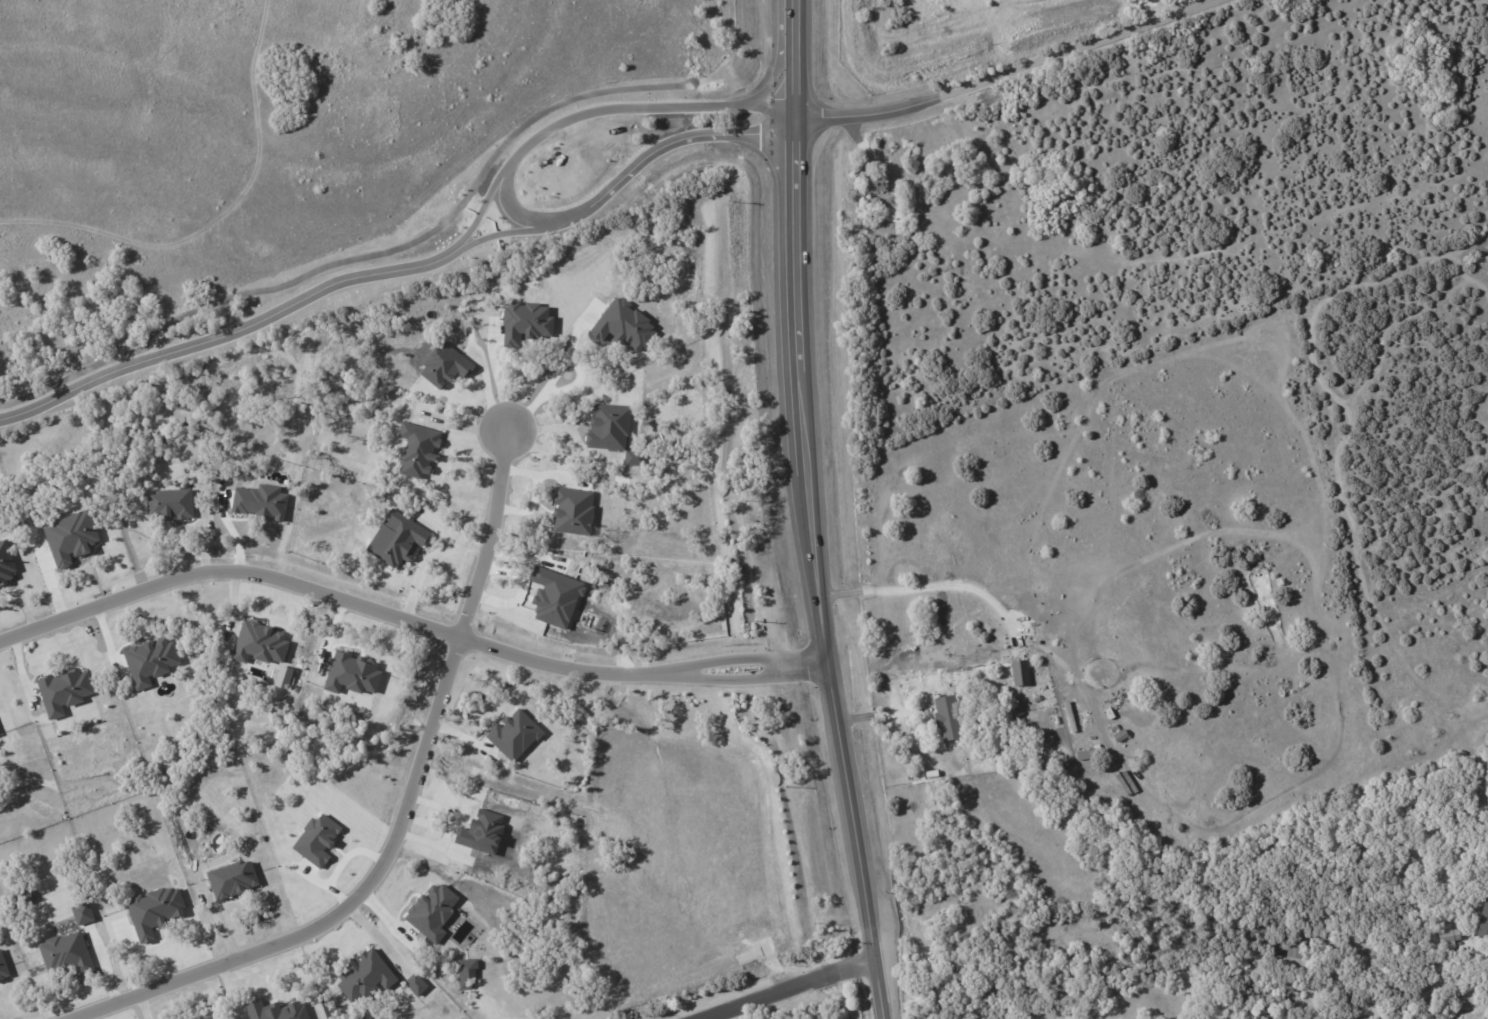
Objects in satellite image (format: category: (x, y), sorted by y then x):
road: (640, 4)
road: (1004, 74)
road: (426, 87)
road: (588, 110)
road: (656, 145)
building: (874, 185)
road: (463, 228)
road: (472, 237)
road: (199, 238)
road: (792, 297)
road: (199, 338)
road: (498, 381)
road: (550, 382)
building: (169, 503)
road: (489, 535)
building: (396, 538)
road: (926, 588)
road: (405, 620)
building: (1019, 672)
building: (63, 690)
building: (945, 717)
road: (850, 807)
building: (315, 839)
road: (343, 906)
building: (1481, 921)
building: (1447, 934)
building: (1286, 948)
building: (363, 975)
building: (415, 984)
road: (787, 988)
road: (1472, 1009)

